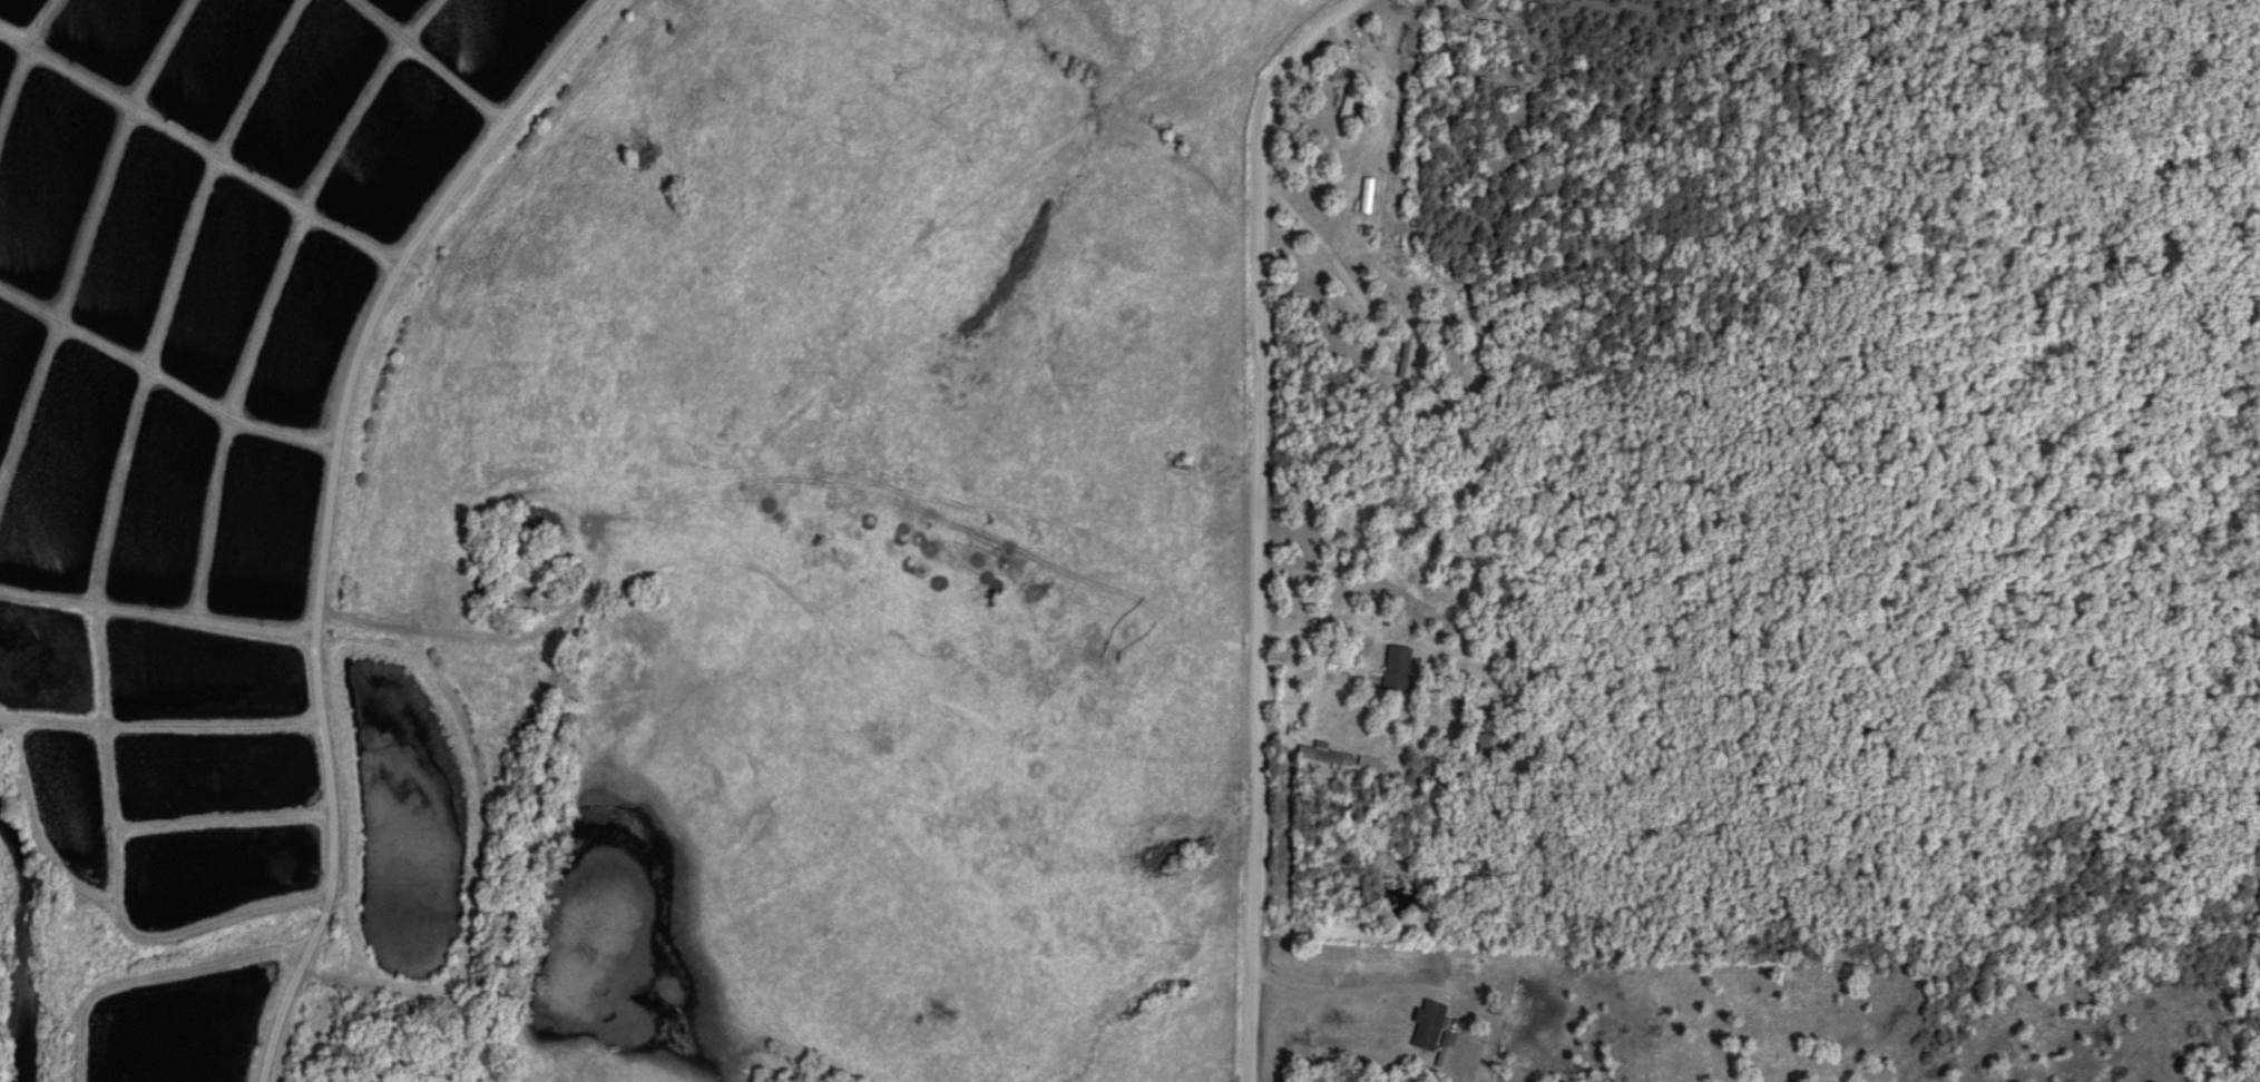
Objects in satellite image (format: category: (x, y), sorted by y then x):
building: (1408, 357)
road: (332, 506)
road: (1258, 519)
road: (496, 631)
building: (1400, 670)
building: (1325, 758)
road: (1354, 992)
building: (1432, 1026)
building: (1451, 1040)
building: (1445, 1061)

